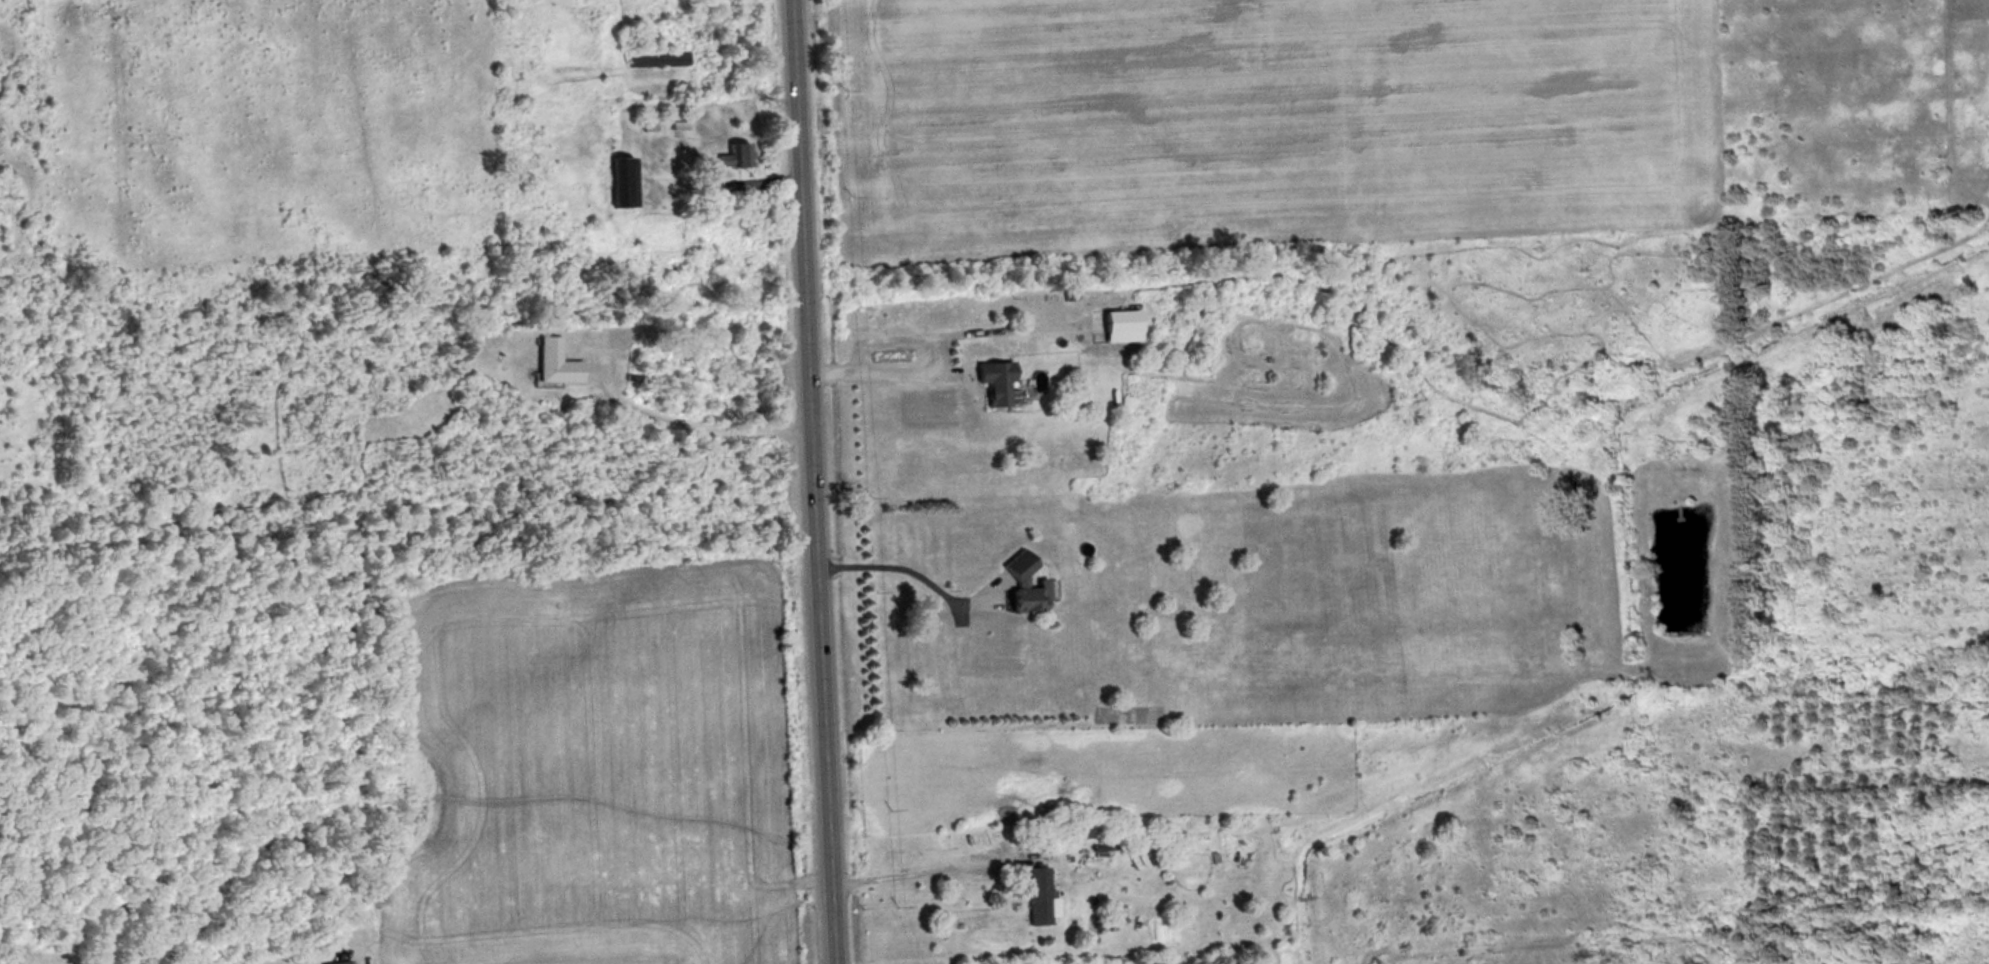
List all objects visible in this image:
building: (659, 61)
building: (736, 157)
building: (622, 184)
building: (557, 365)
building: (997, 385)
road: (697, 426)
road: (807, 482)
road: (896, 570)
building: (1026, 588)
road: (895, 877)
building: (1040, 900)
building: (349, 963)

